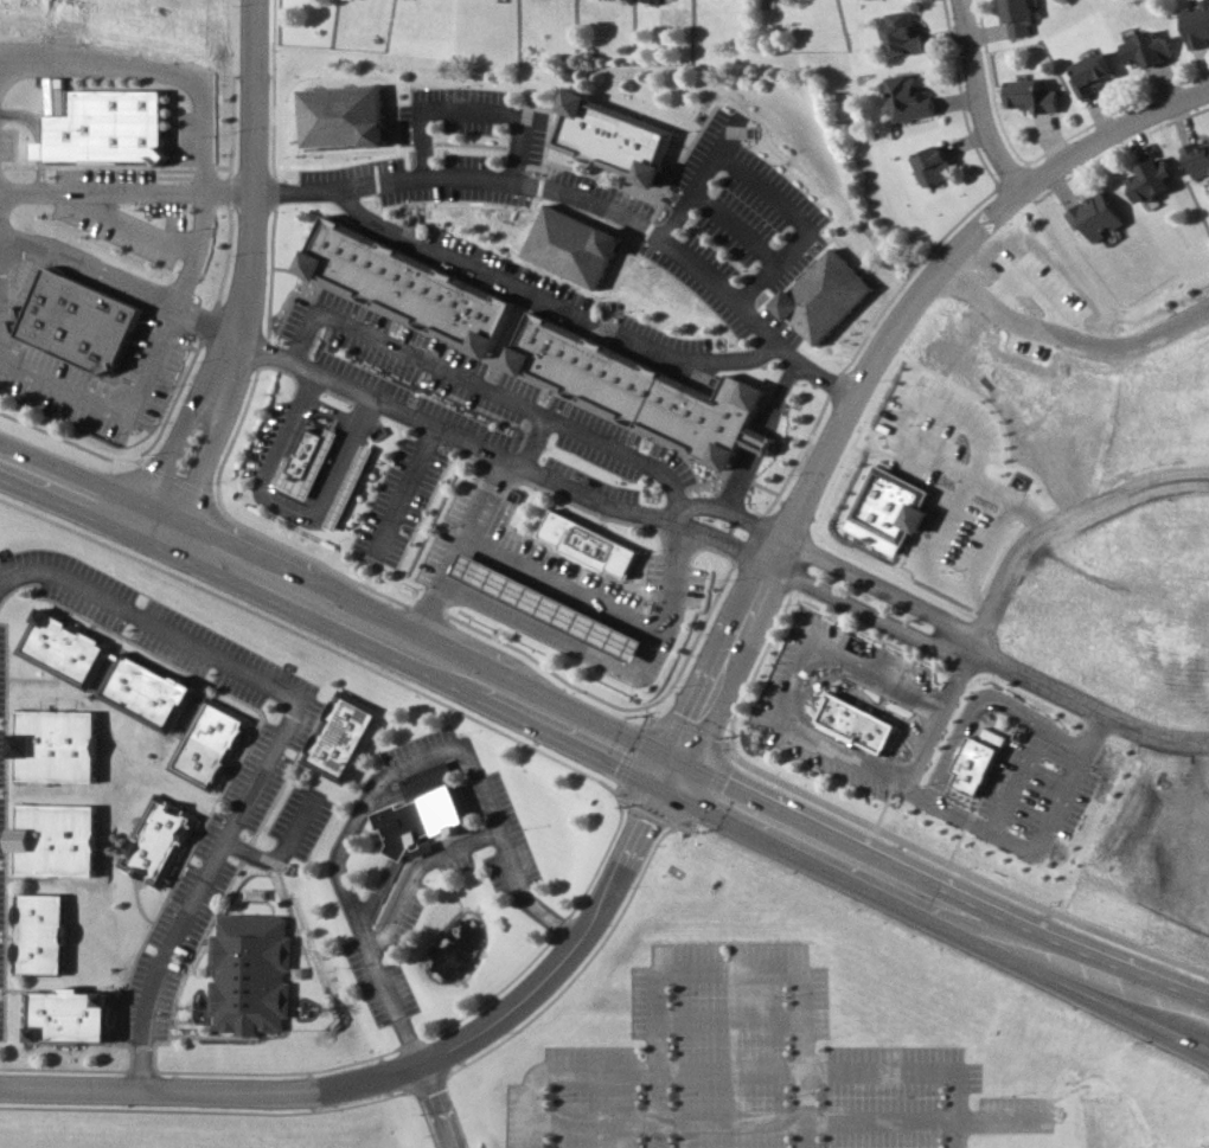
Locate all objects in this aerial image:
building: (1021, 18)
building: (1198, 25)
building: (904, 33)
building: (1149, 47)
road: (180, 73)
building: (1095, 73)
building: (1035, 96)
building: (908, 98)
road: (983, 98)
road: (473, 105)
building: (346, 116)
building: (110, 129)
building: (610, 134)
road: (1113, 140)
building: (1200, 160)
building: (935, 166)
building: (1156, 179)
road: (556, 190)
road: (765, 190)
road: (129, 191)
building: (1100, 216)
road: (130, 222)
building: (575, 246)
road: (257, 272)
road: (127, 283)
building: (410, 283)
building: (825, 296)
road: (550, 303)
building: (87, 323)
road: (1069, 339)
road: (308, 385)
road: (484, 386)
building: (644, 391)
road: (135, 396)
road: (376, 400)
road: (775, 404)
road: (333, 411)
road: (283, 441)
road: (900, 442)
building: (308, 462)
road: (819, 466)
building: (352, 487)
road: (335, 490)
road: (405, 490)
building: (895, 507)
road: (143, 518)
road: (1062, 526)
road: (677, 527)
building: (590, 543)
road: (759, 545)
road: (768, 547)
road: (561, 582)
road: (883, 586)
building: (552, 608)
gas station: (552, 608)
road: (870, 613)
building: (68, 647)
road: (485, 666)
road: (959, 678)
road: (474, 686)
building: (151, 691)
road: (1088, 707)
road: (774, 713)
building: (861, 721)
building: (343, 737)
building: (211, 743)
road: (282, 743)
building: (59, 746)
building: (981, 759)
road: (1017, 769)
road: (384, 775)
traffic signals: (673, 777)
road: (920, 785)
road: (940, 797)
building: (427, 812)
building: (160, 839)
building: (58, 840)
road: (815, 847)
road: (286, 852)
road: (418, 871)
building: (41, 934)
road: (1085, 951)
building: (256, 973)
road: (727, 975)
road: (1081, 986)
building: (70, 1014)
road: (744, 1071)
road: (409, 1075)
road: (446, 1108)

